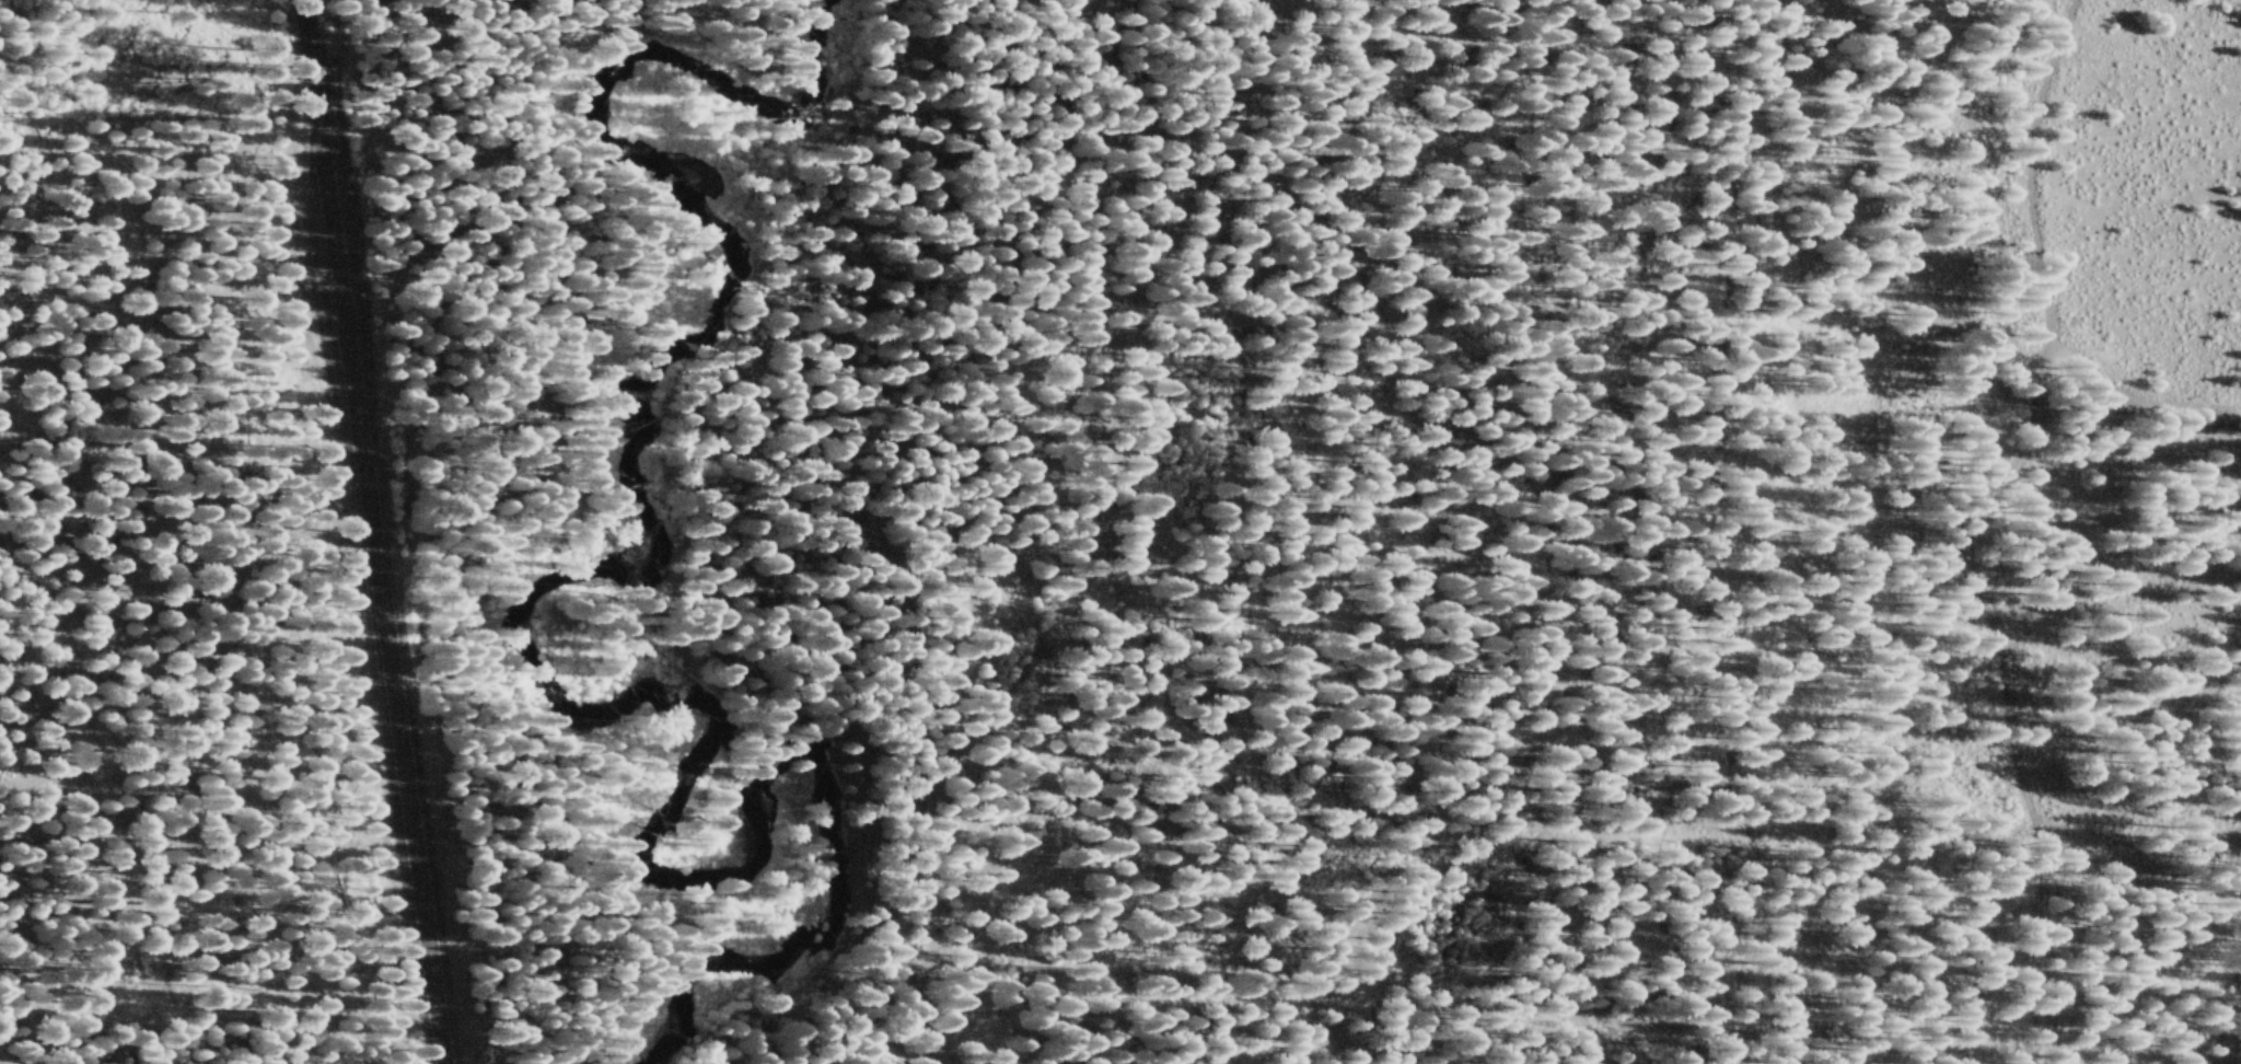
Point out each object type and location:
road: (311, 59)
road: (380, 590)

